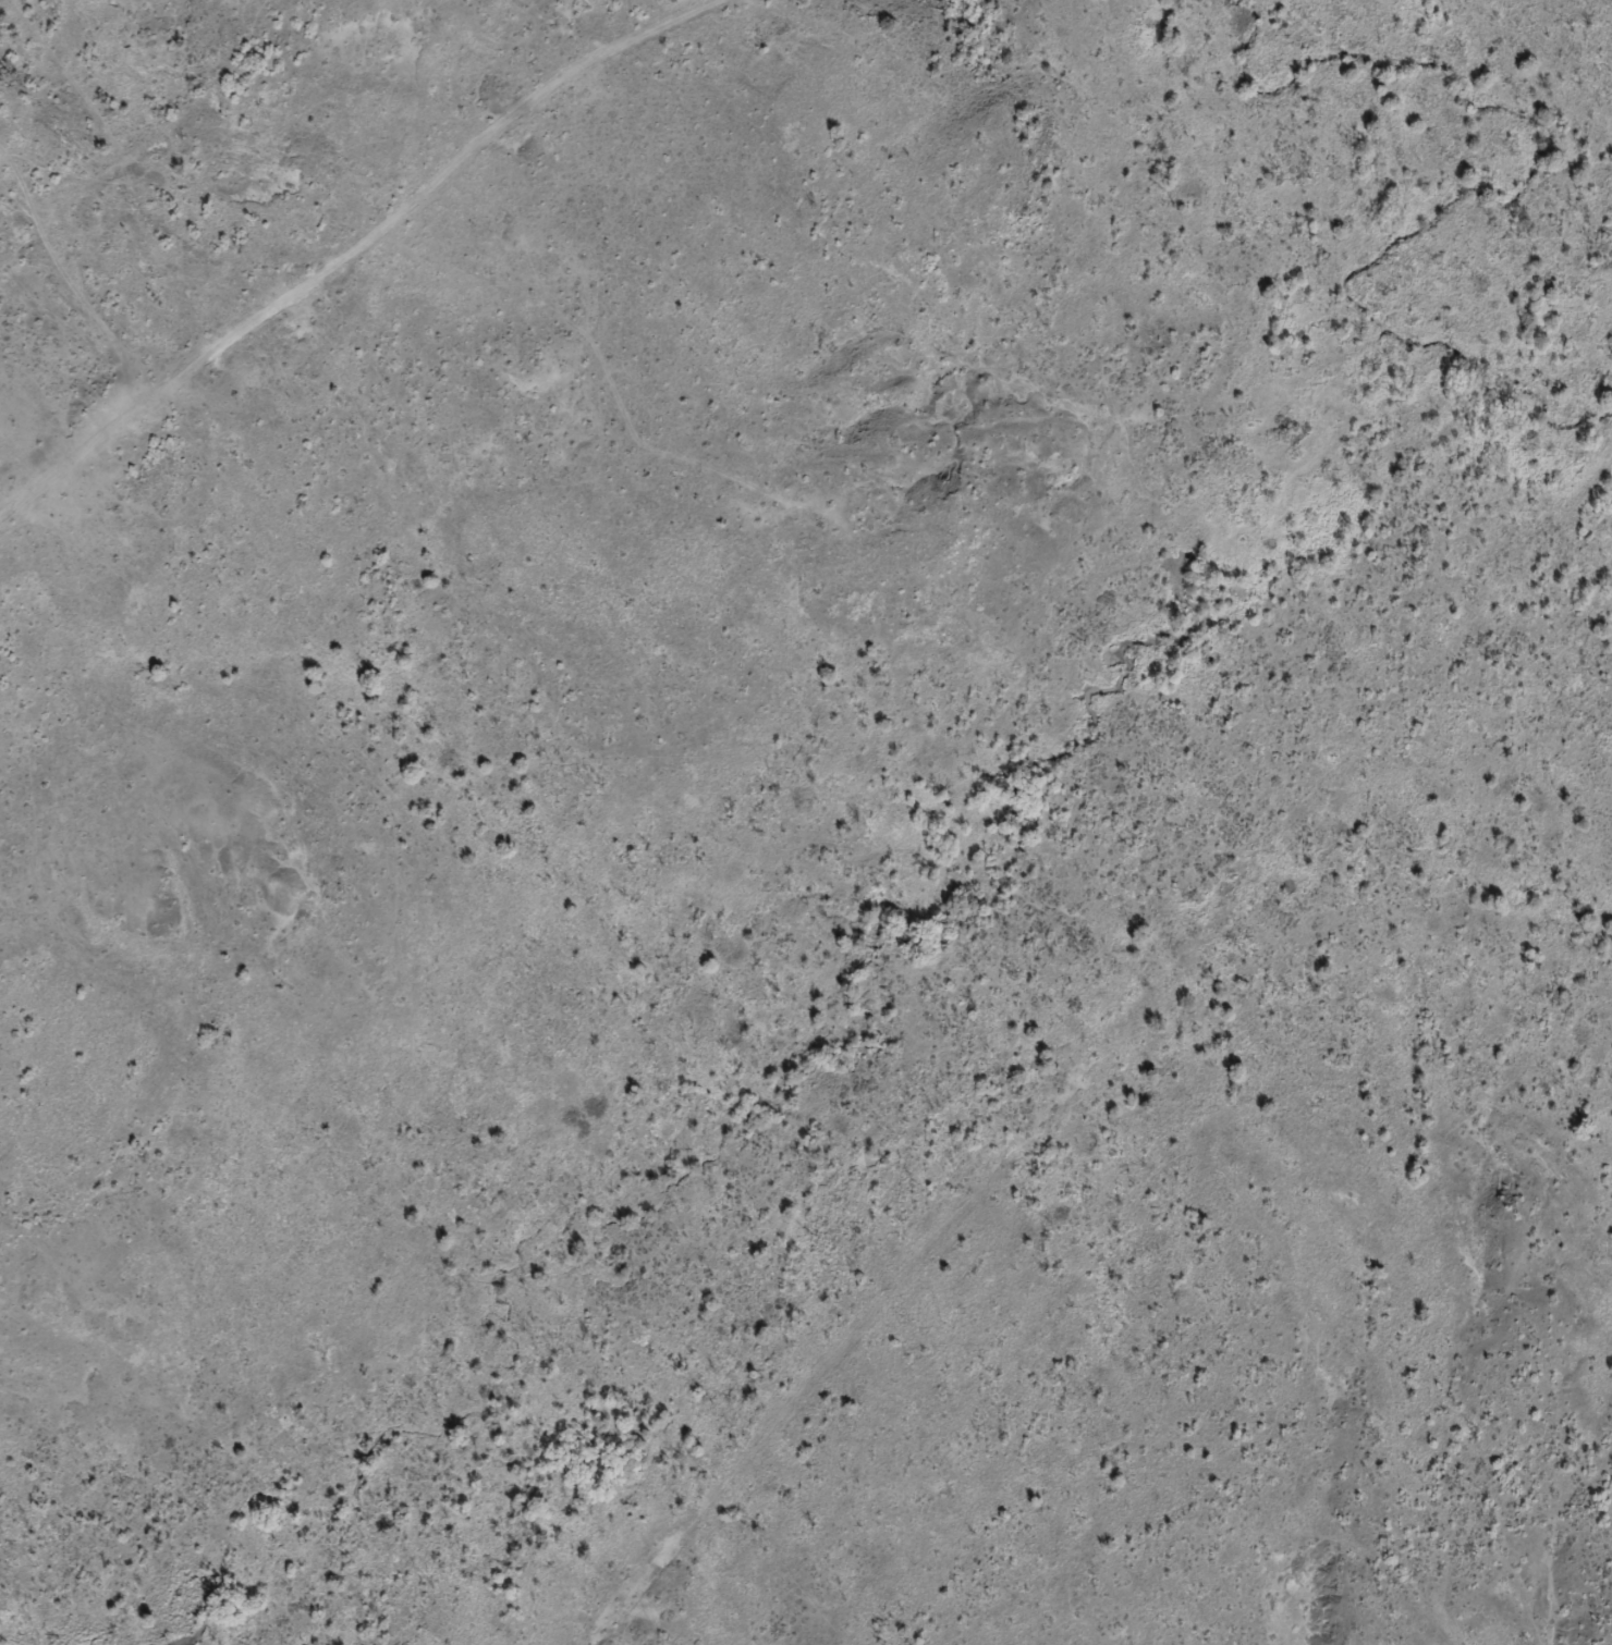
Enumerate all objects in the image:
road: (115, 339)

